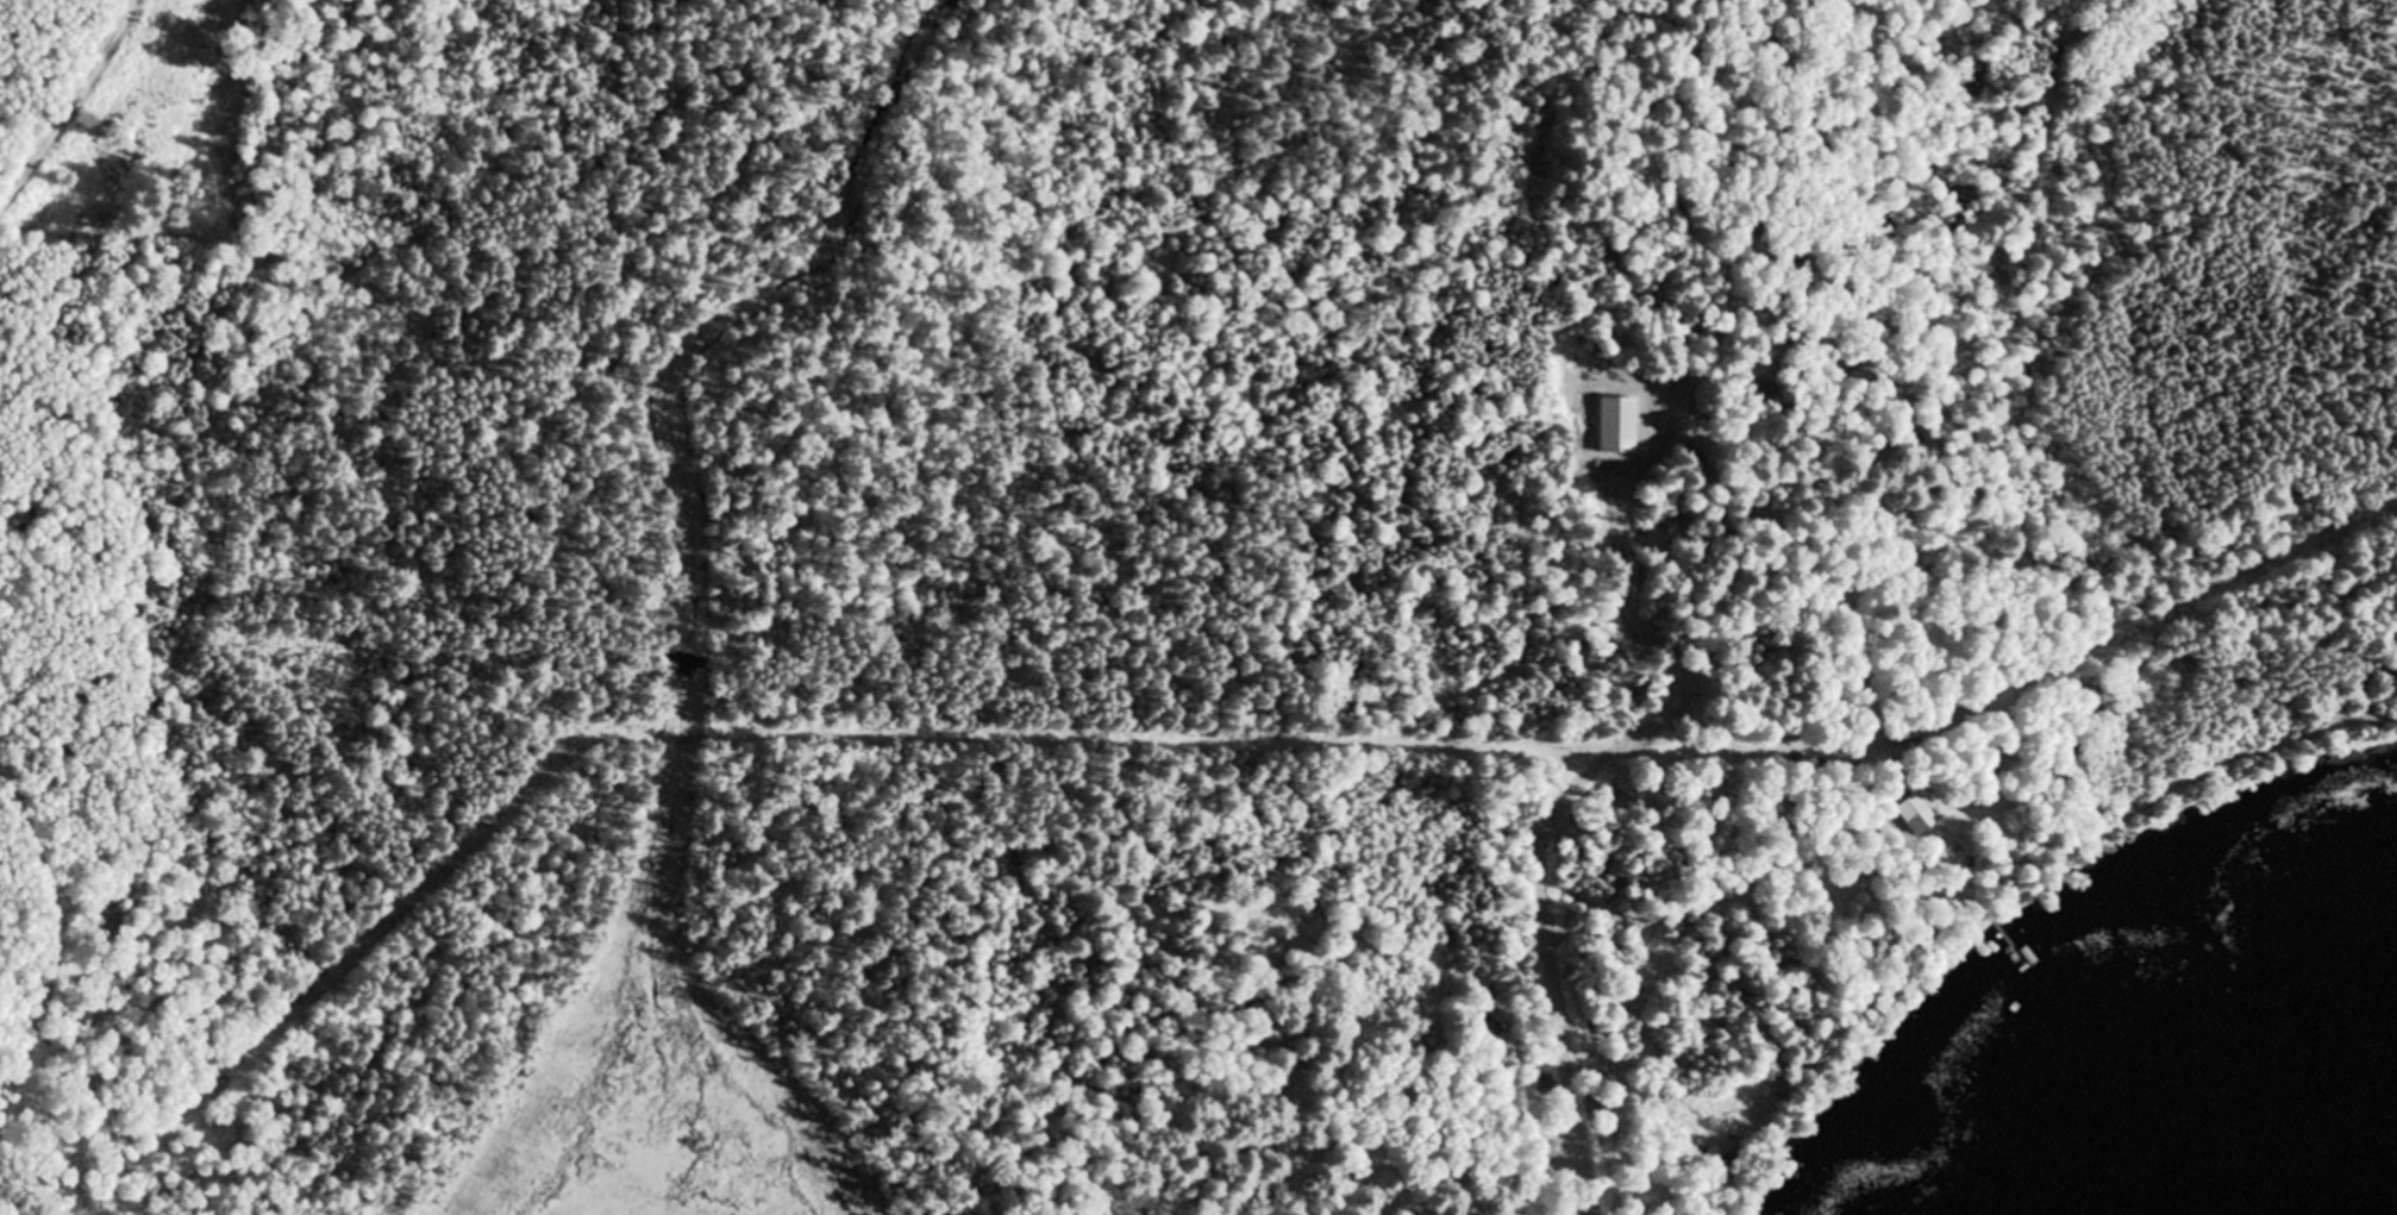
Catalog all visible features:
road: (65, 107)
building: (1615, 426)
building: (1905, 815)
road: (55, 950)

